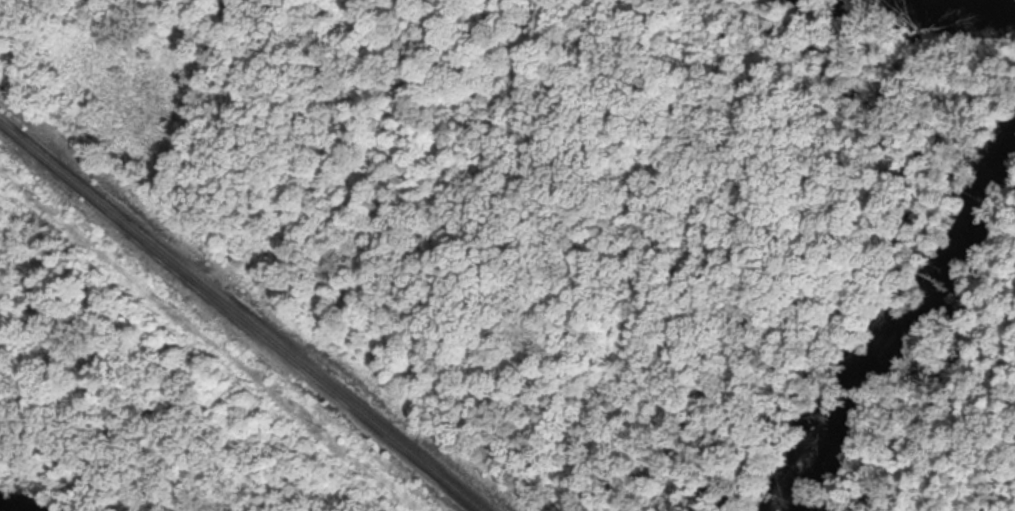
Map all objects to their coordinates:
river: (995, 3)
park: (507, 255)
railway: (243, 316)
river: (899, 332)
road: (977, 427)

